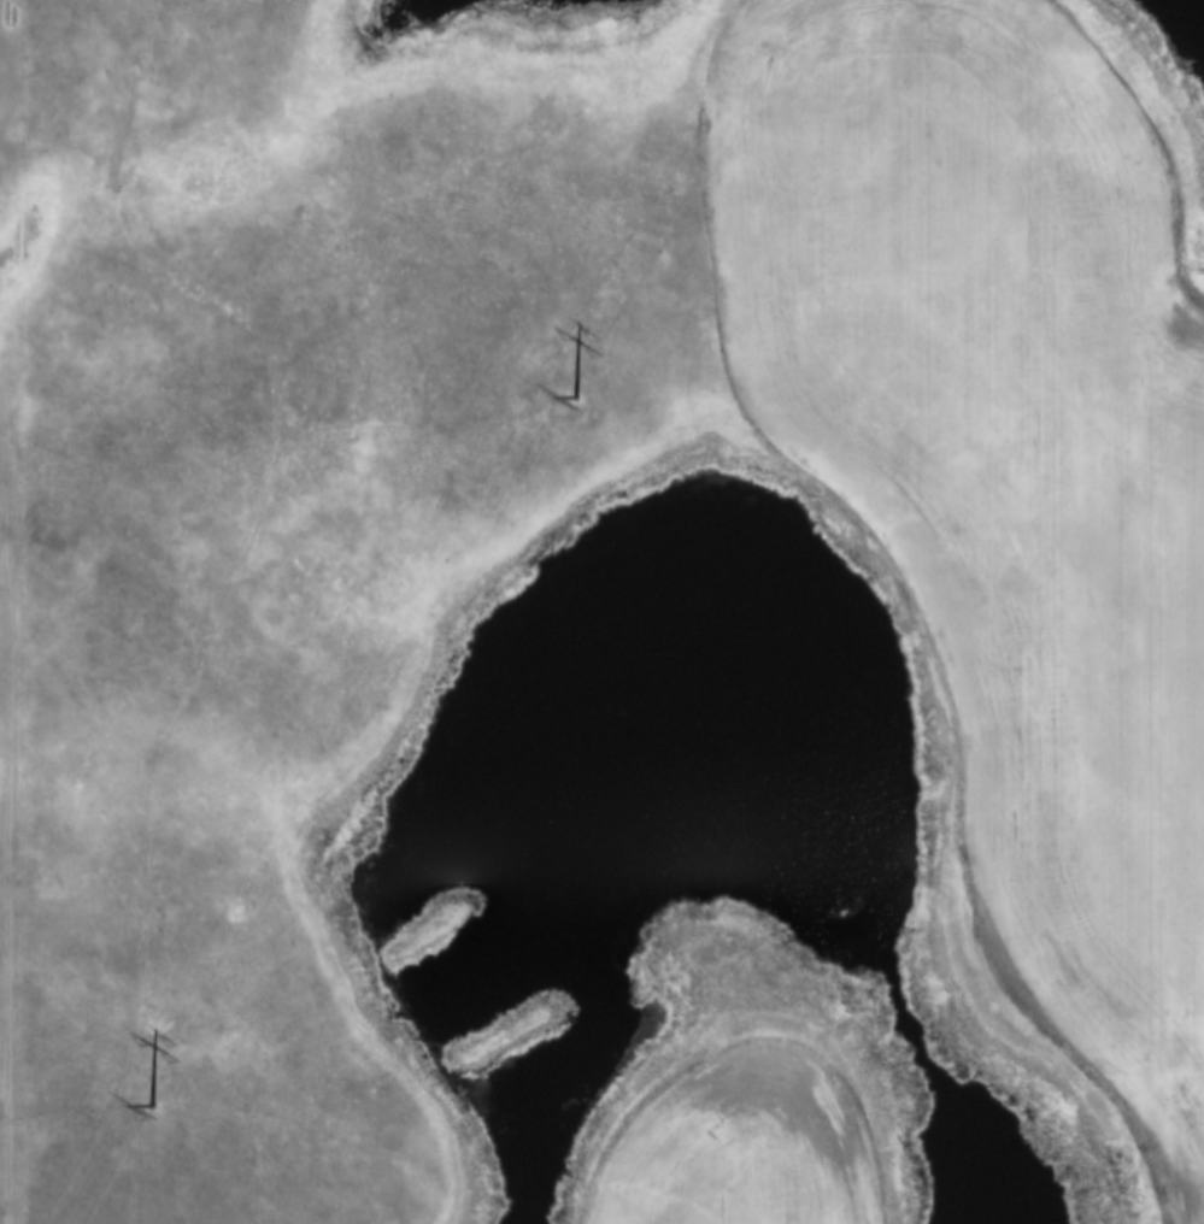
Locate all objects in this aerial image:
power tower: (564, 379)
power tower: (136, 1091)

